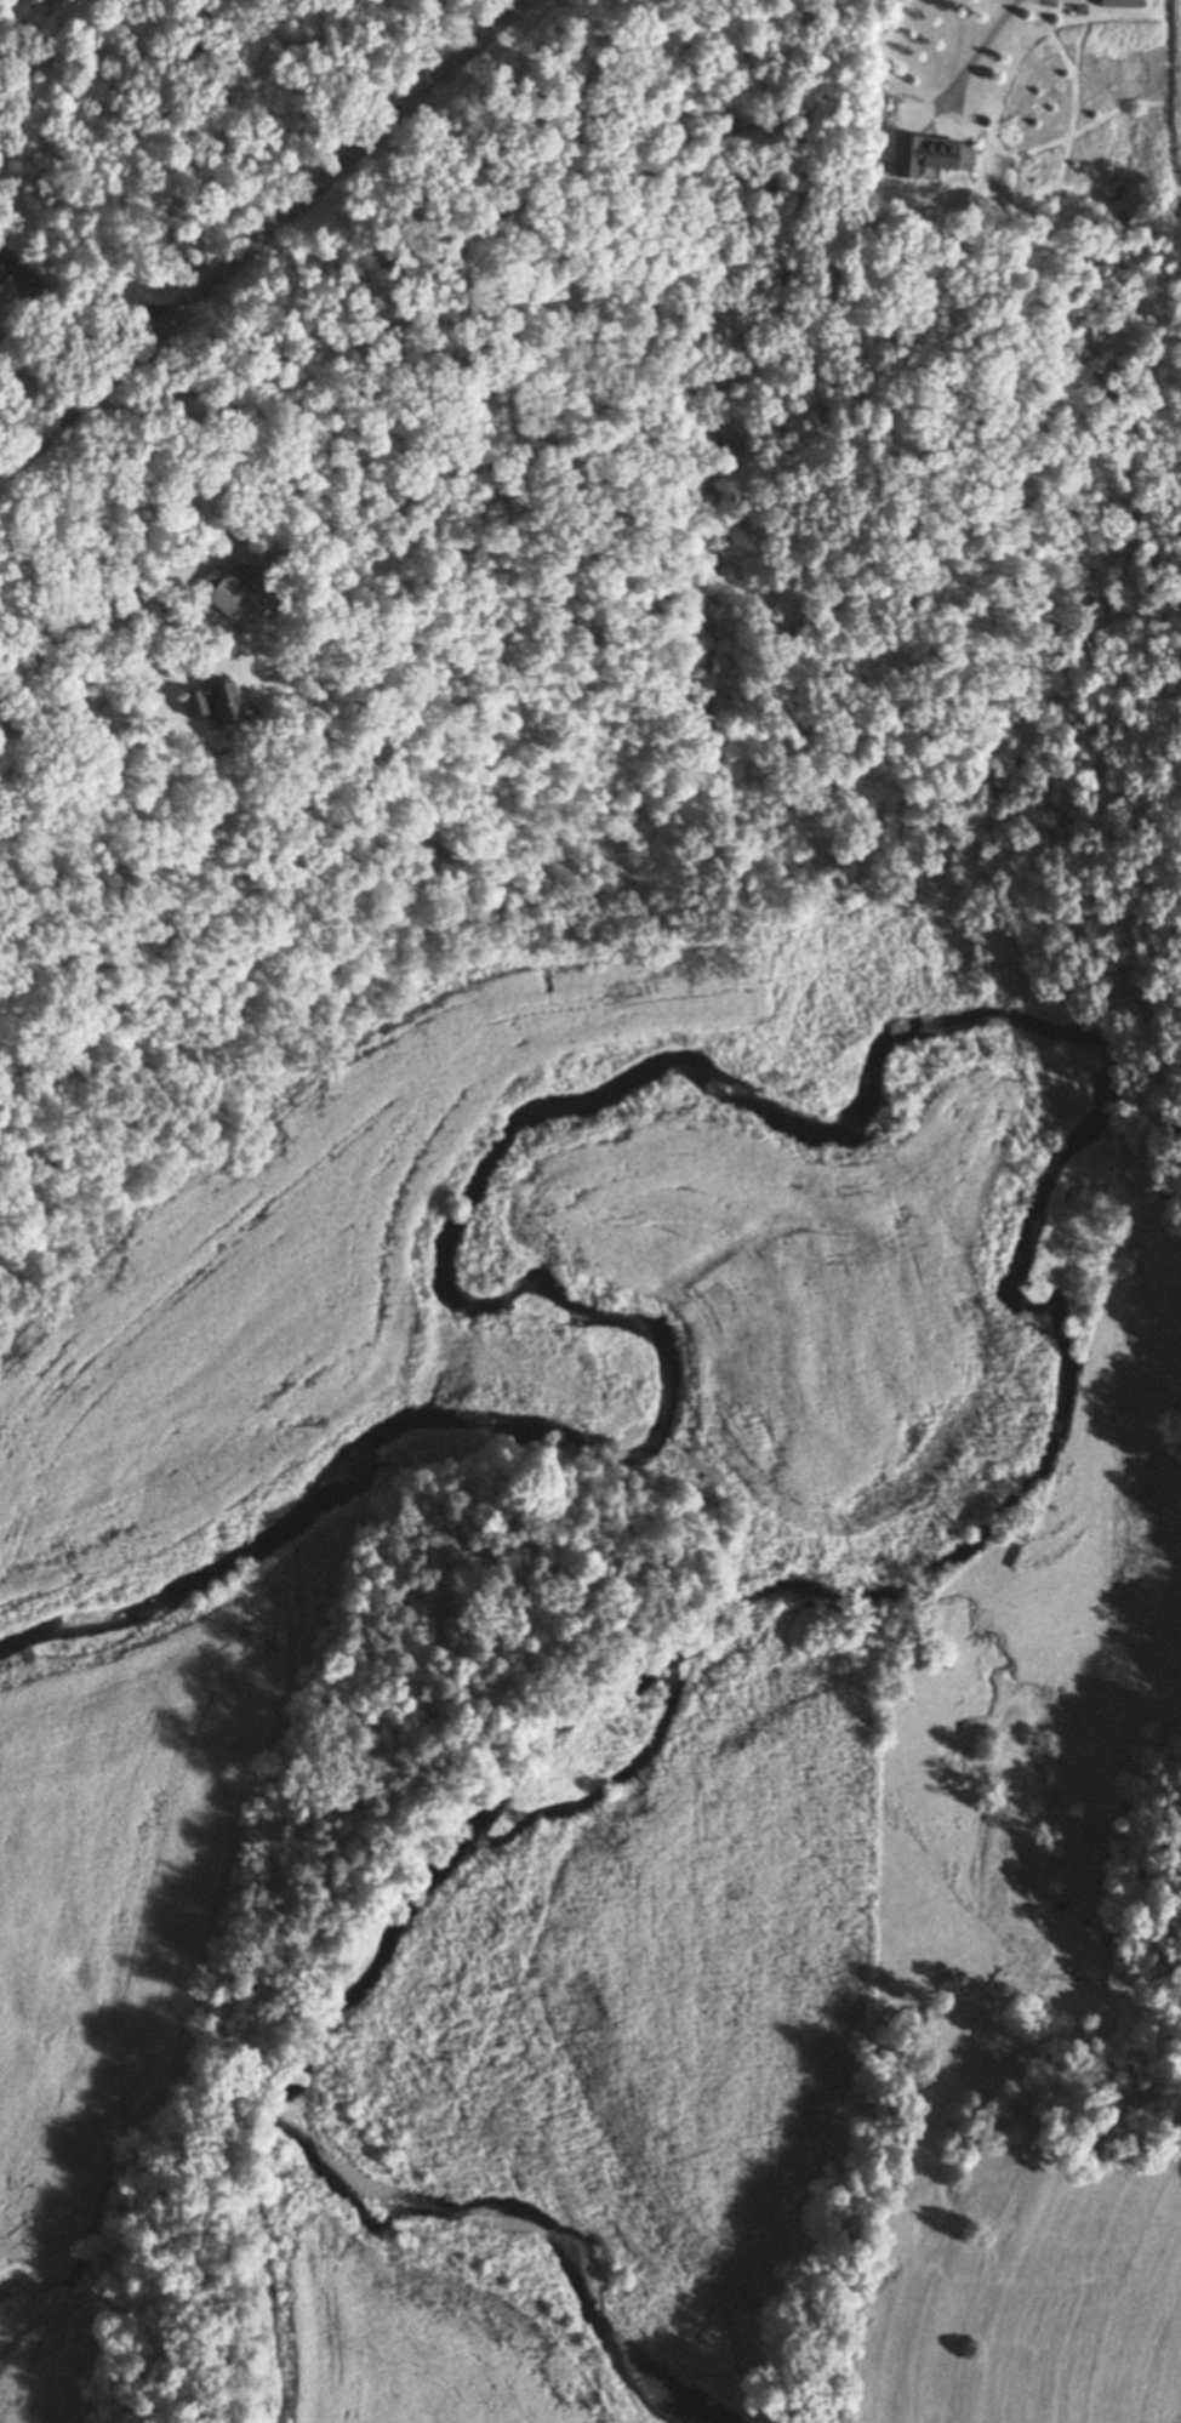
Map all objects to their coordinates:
building: (1118, 4)
road: (970, 64)
building: (931, 158)
road: (262, 238)
building: (1, 272)
road: (78, 308)
building: (216, 588)
road: (135, 631)
building: (206, 705)

